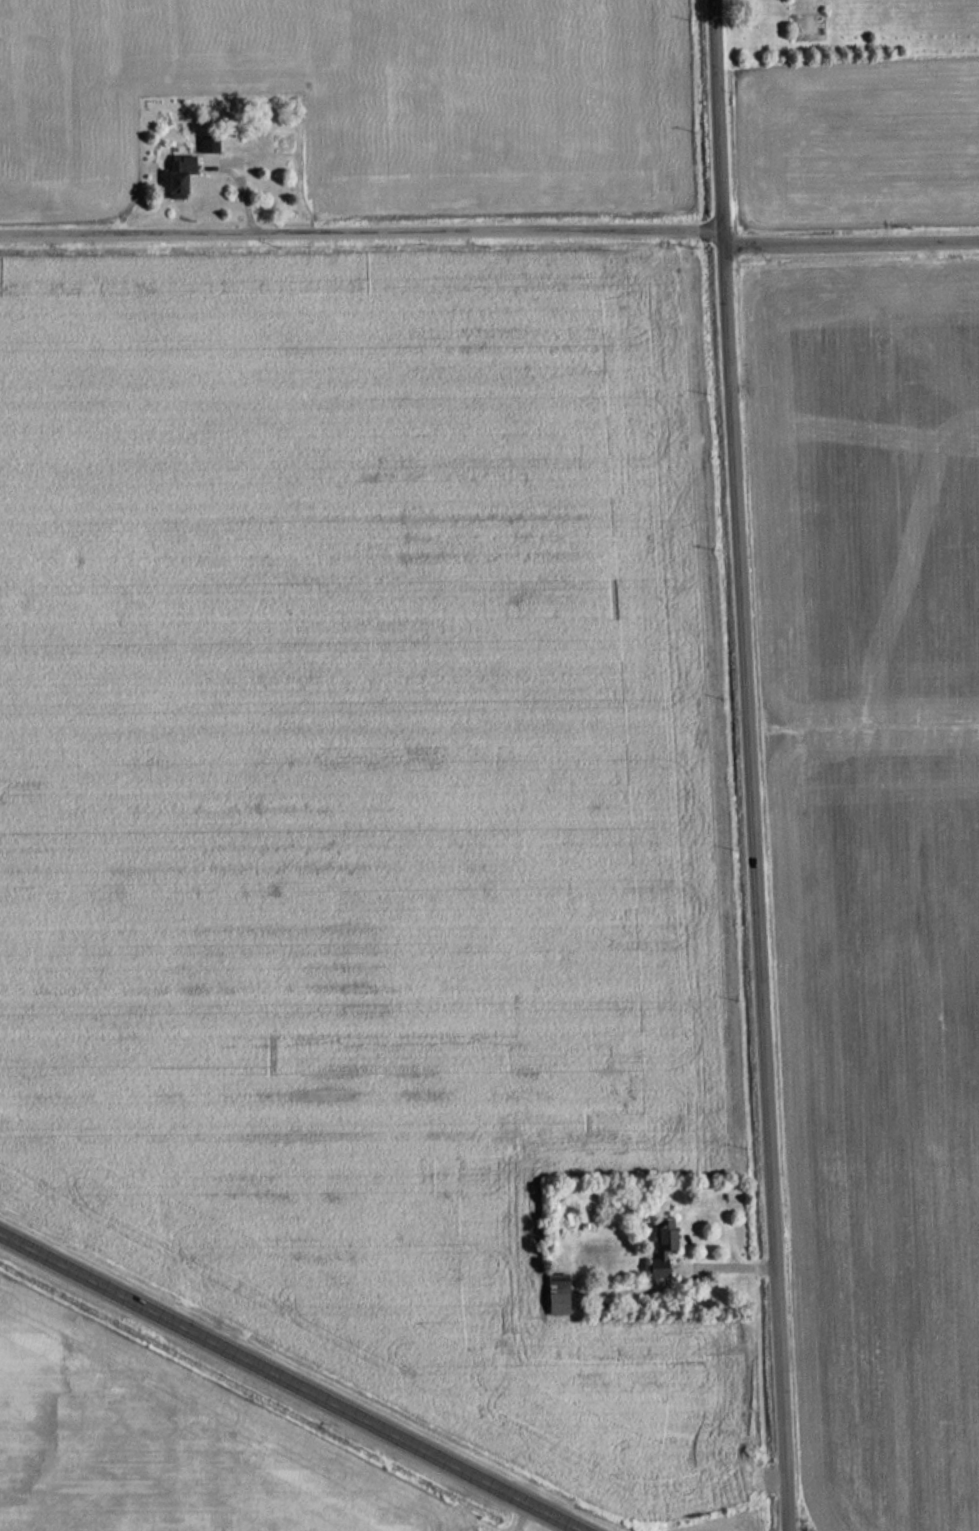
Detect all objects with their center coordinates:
building: (177, 175)
road: (363, 230)
road: (851, 240)
road: (750, 765)
crop: (369, 810)
building: (665, 1233)
building: (556, 1294)
road: (300, 1377)
crop: (164, 1448)

